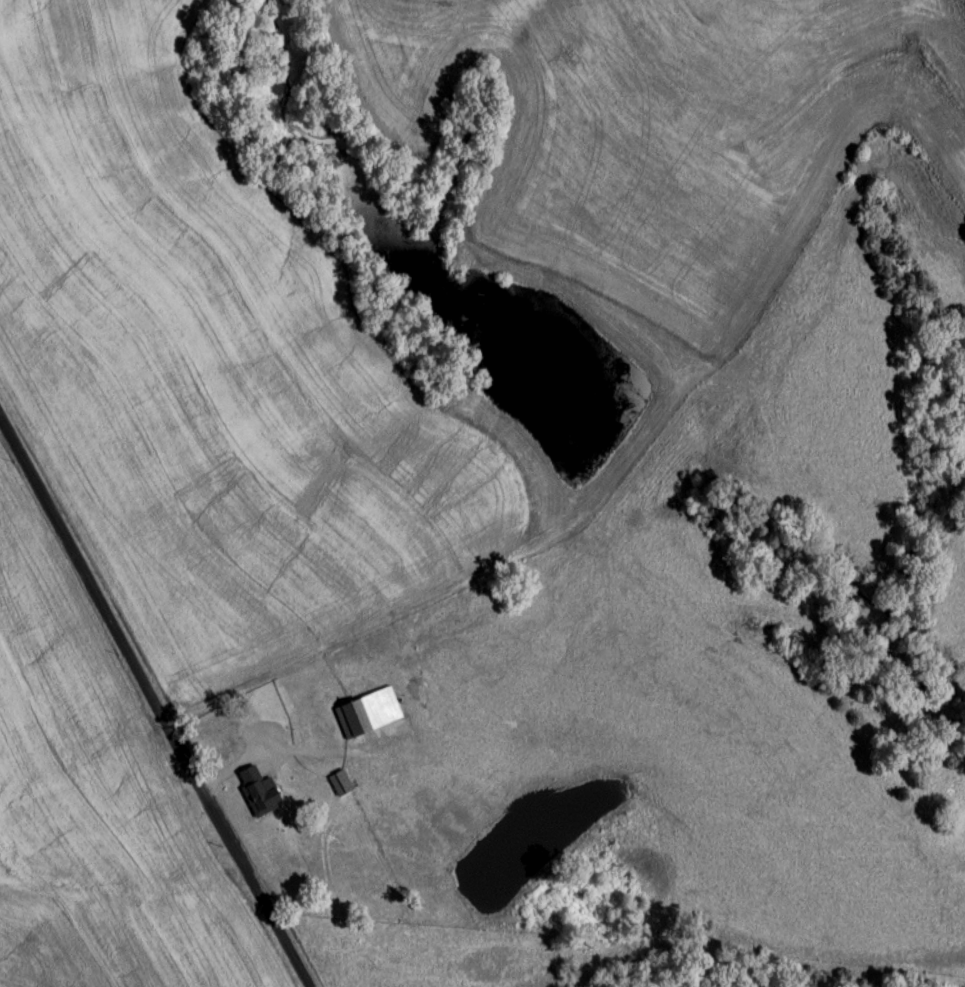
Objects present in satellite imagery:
road: (155, 692)
building: (368, 712)
road: (275, 754)
building: (340, 783)
building: (258, 792)

